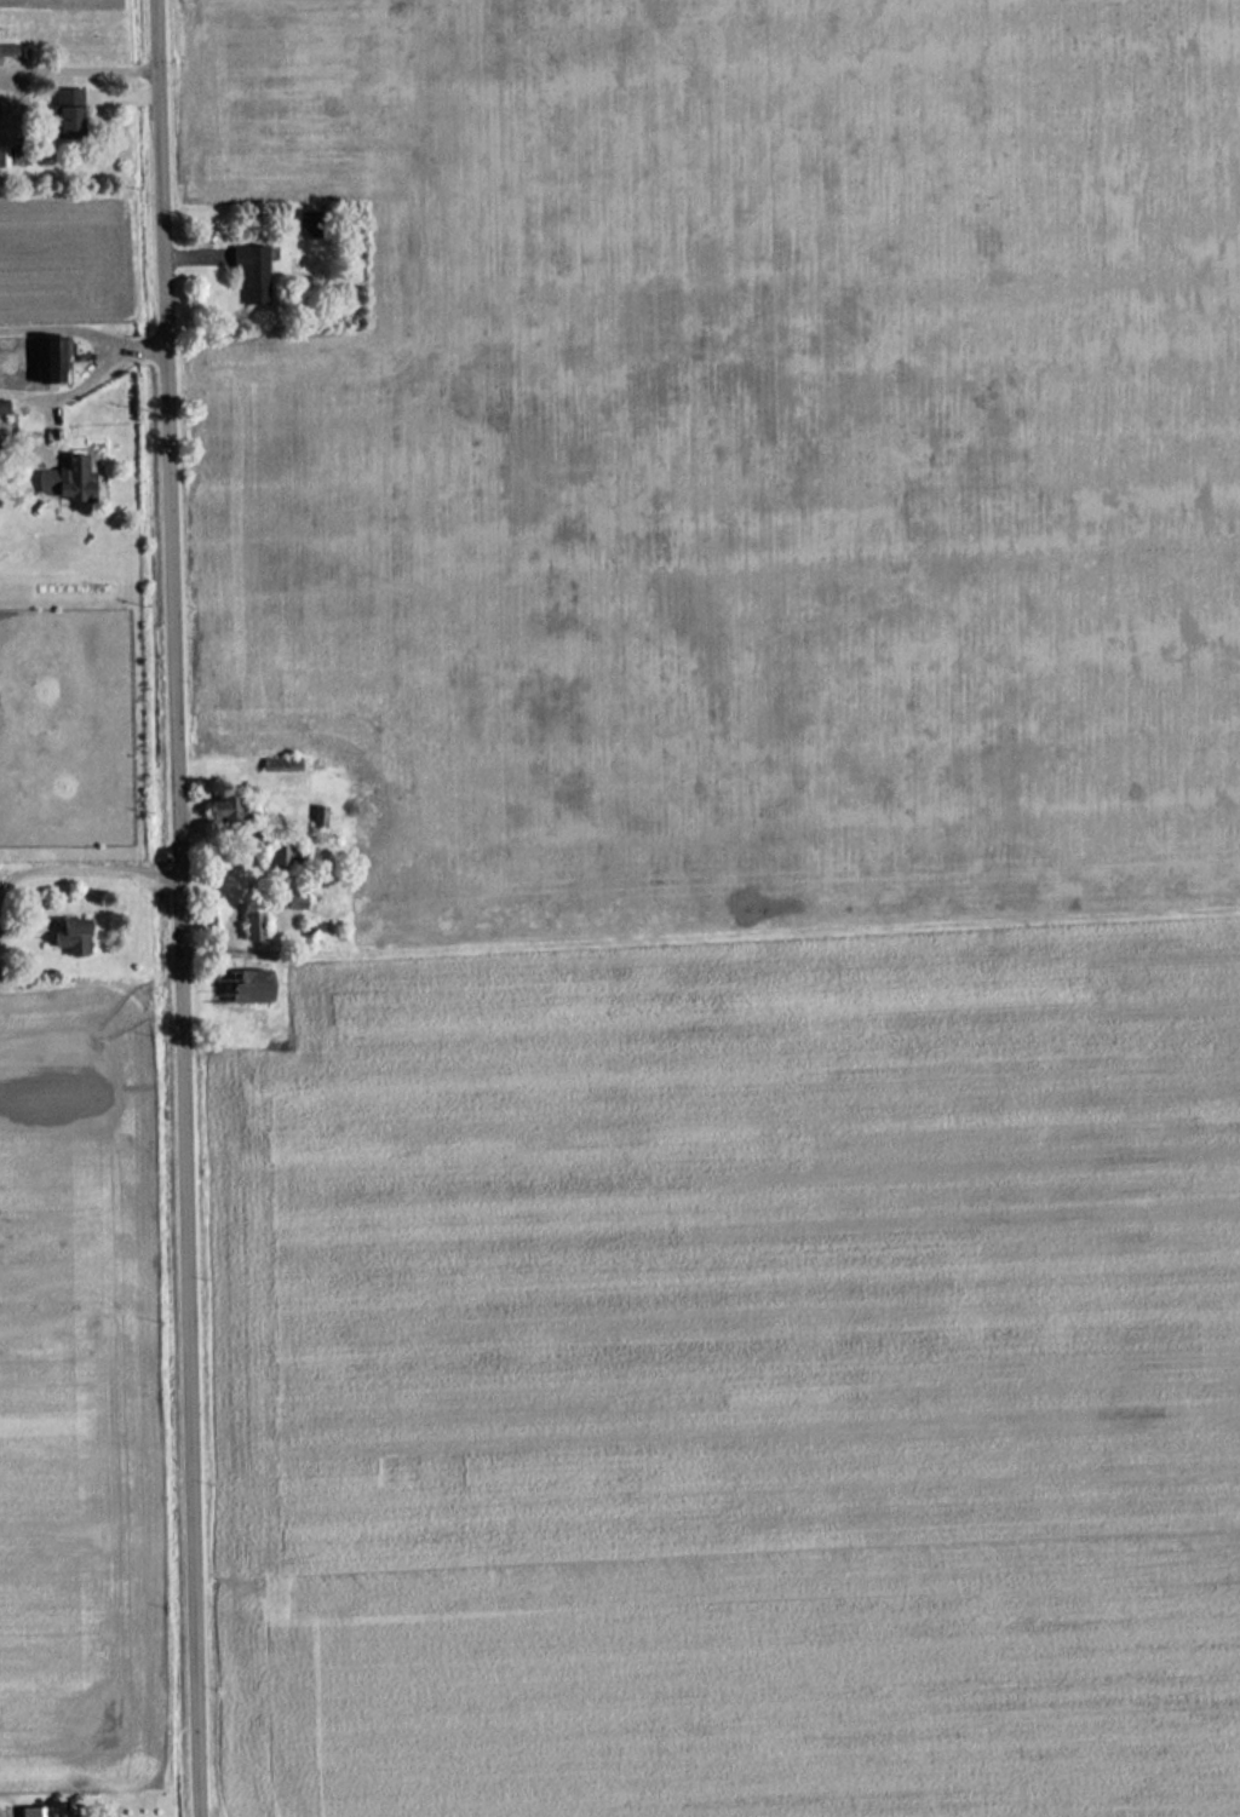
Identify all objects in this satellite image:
crop: (57, 4)
building: (73, 113)
building: (2, 156)
building: (309, 224)
crop: (65, 263)
building: (251, 275)
road: (80, 327)
building: (51, 357)
road: (68, 390)
crop: (737, 455)
building: (67, 479)
building: (225, 809)
road: (82, 853)
road: (167, 908)
building: (73, 936)
building: (253, 994)
crop: (740, 1374)
crop: (67, 1397)
building: (36, 1812)

